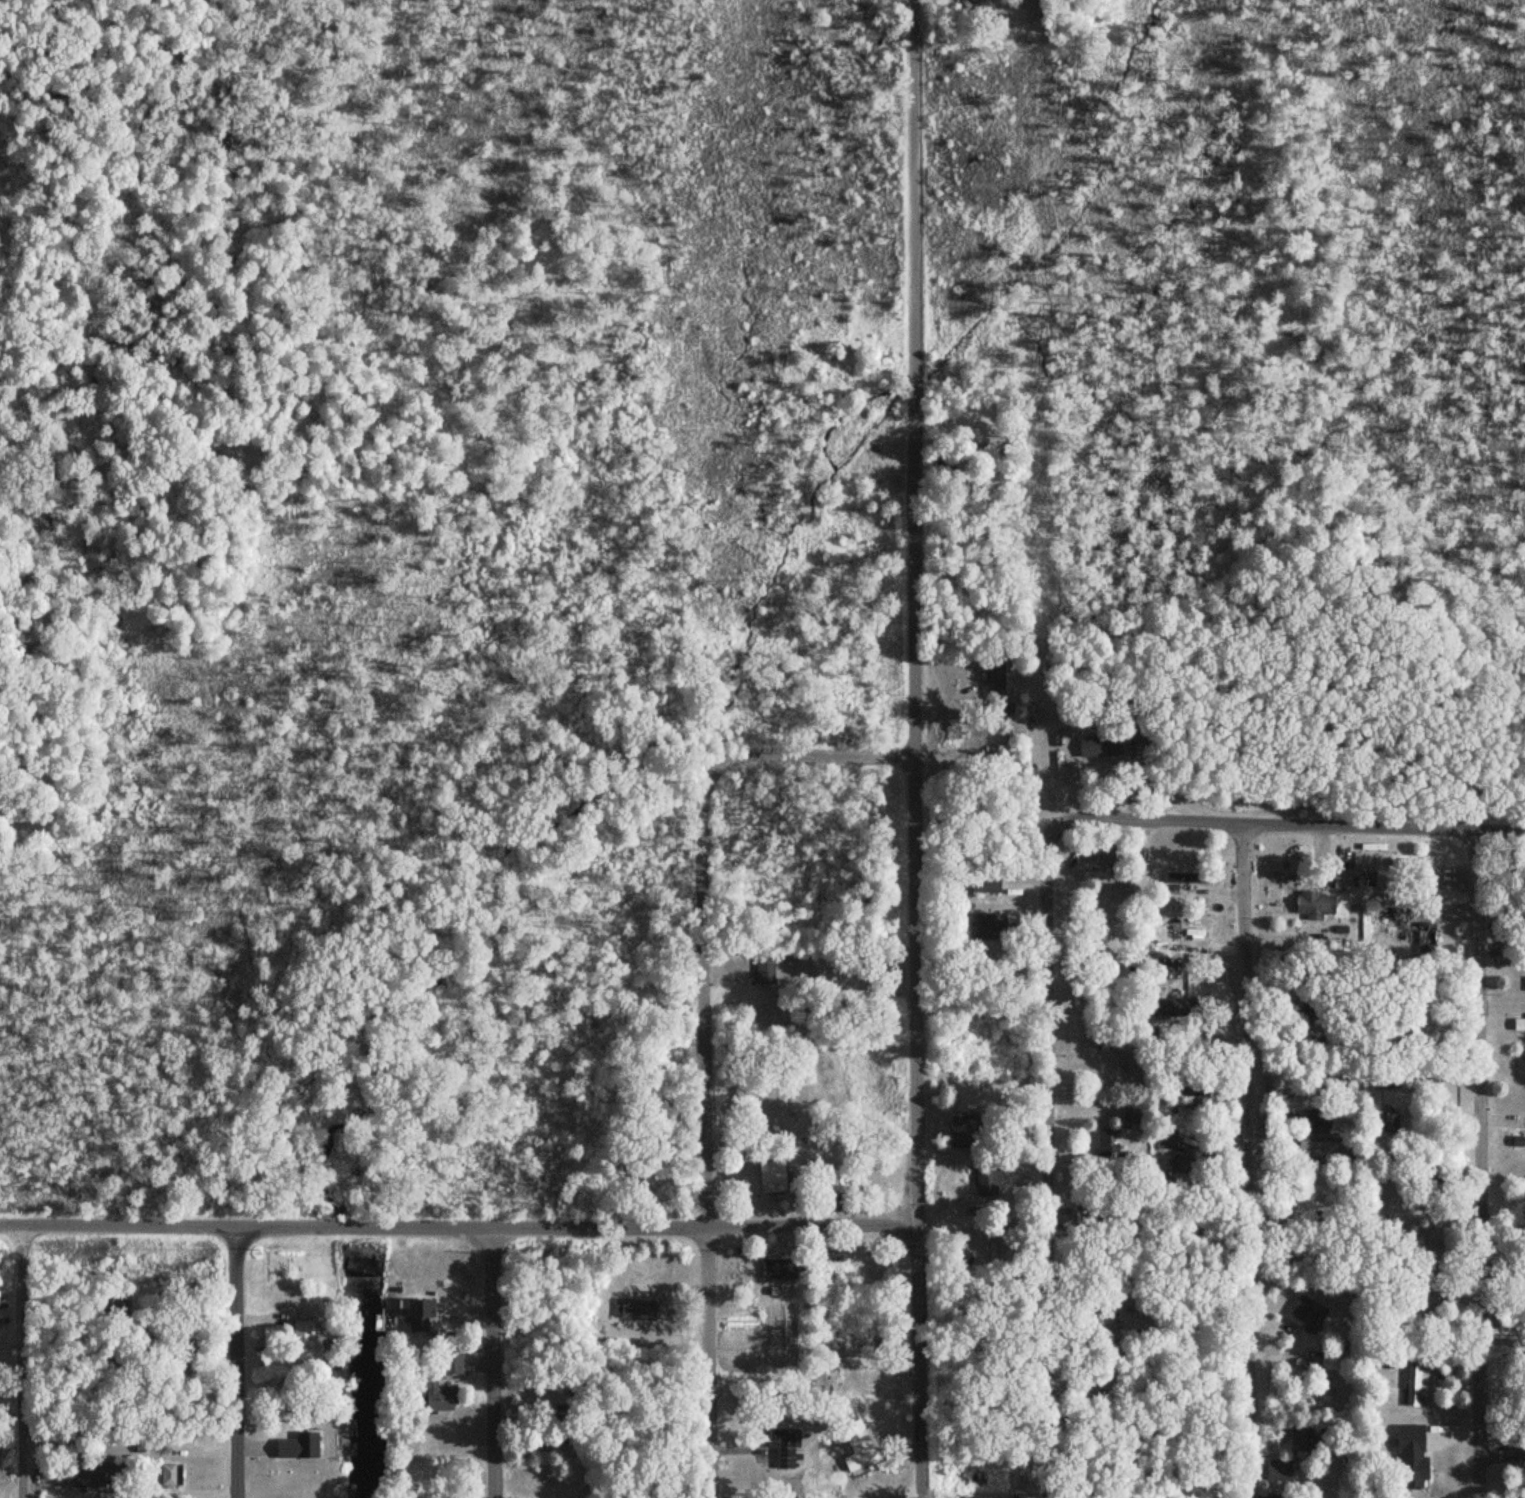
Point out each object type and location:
building: (997, 673)
building: (1101, 747)
road: (912, 749)
road: (813, 752)
road: (1294, 821)
building: (1105, 855)
building: (1105, 869)
building: (1189, 870)
building: (985, 886)
building: (1306, 904)
building: (1395, 919)
building: (766, 972)
building: (1517, 1026)
building: (1115, 1036)
building: (1182, 1089)
building: (1312, 1120)
building: (1389, 1124)
road: (707, 1131)
building: (961, 1132)
building: (1518, 1143)
building: (1317, 1146)
road: (1051, 1155)
building: (1178, 1157)
road: (1248, 1159)
road: (1478, 1161)
building: (769, 1177)
building: (990, 1180)
road: (456, 1220)
building: (773, 1270)
building: (633, 1306)
building: (415, 1310)
building: (1140, 1310)
building: (1306, 1316)
building: (302, 1341)
building: (1106, 1350)
road: (238, 1359)
road: (20, 1360)
road: (496, 1360)
building: (450, 1363)
building: (1415, 1386)
building: (433, 1400)
building: (562, 1418)
building: (855, 1440)
building: (1303, 1443)
building: (292, 1448)
building: (1406, 1457)
building: (1280, 1471)
building: (85, 1478)

